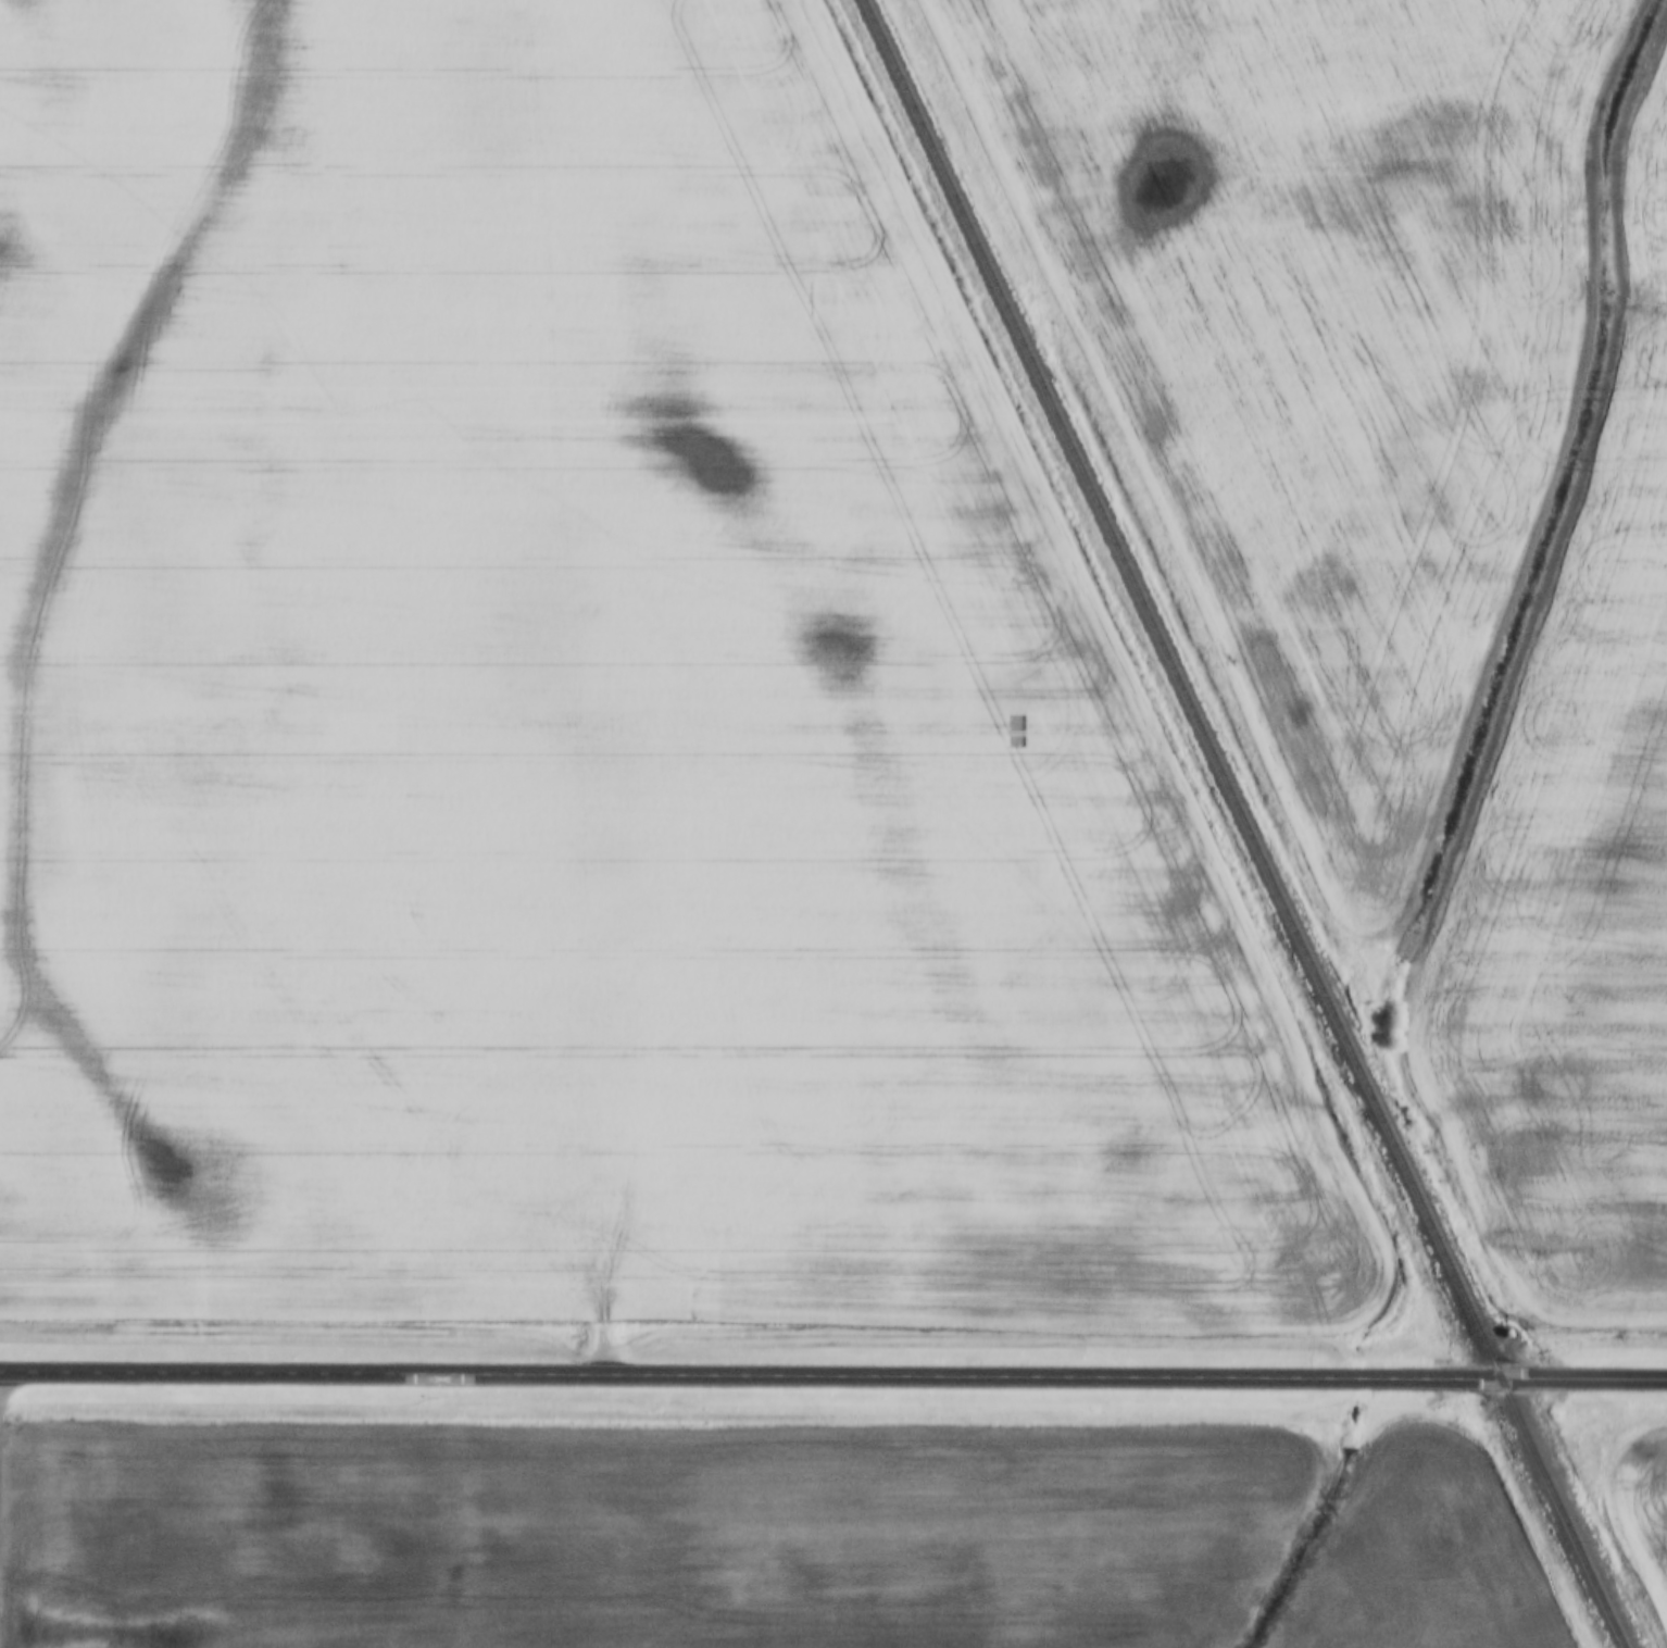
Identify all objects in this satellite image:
railway: (1250, 823)
road: (832, 1381)

